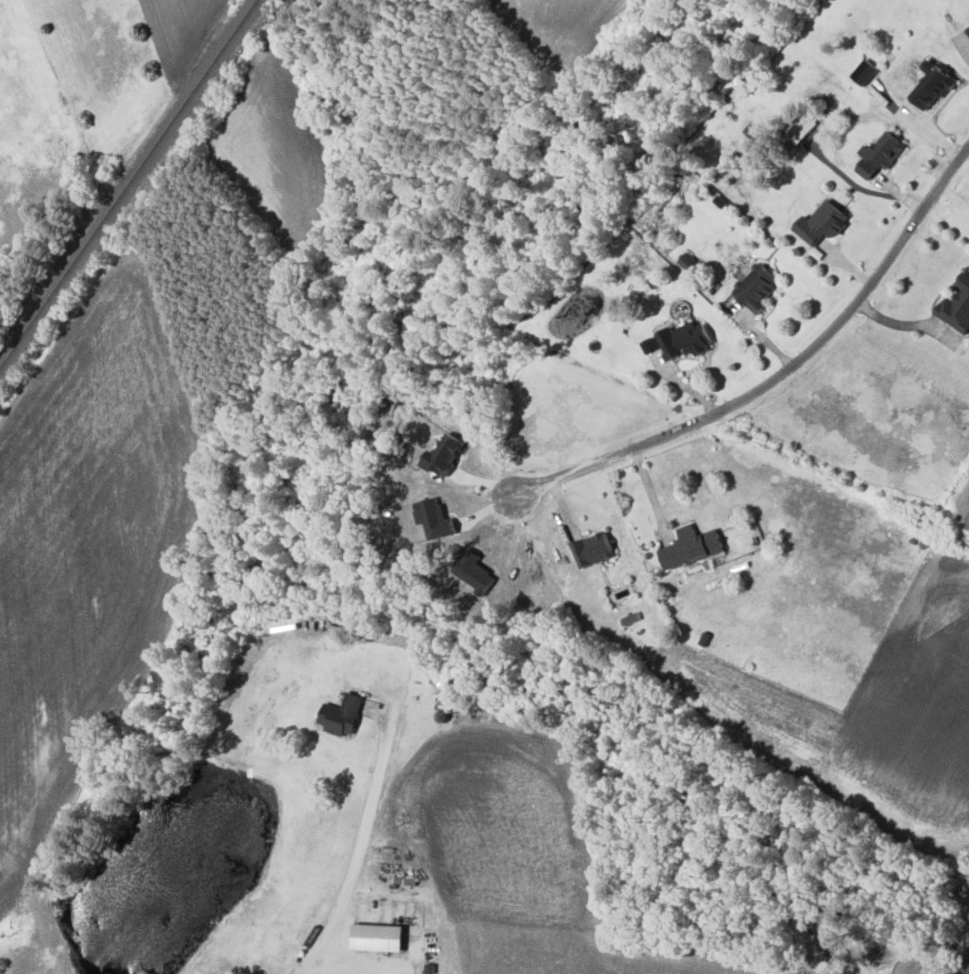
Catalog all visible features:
building: (968, 27)
building: (864, 72)
building: (932, 86)
building: (801, 130)
building: (881, 154)
railway: (128, 183)
building: (822, 223)
building: (688, 262)
building: (756, 287)
building: (957, 307)
building: (686, 339)
road: (779, 374)
building: (691, 546)
building: (593, 548)
building: (630, 618)
building: (342, 714)
road: (359, 850)
building: (378, 936)
road: (362, 959)

